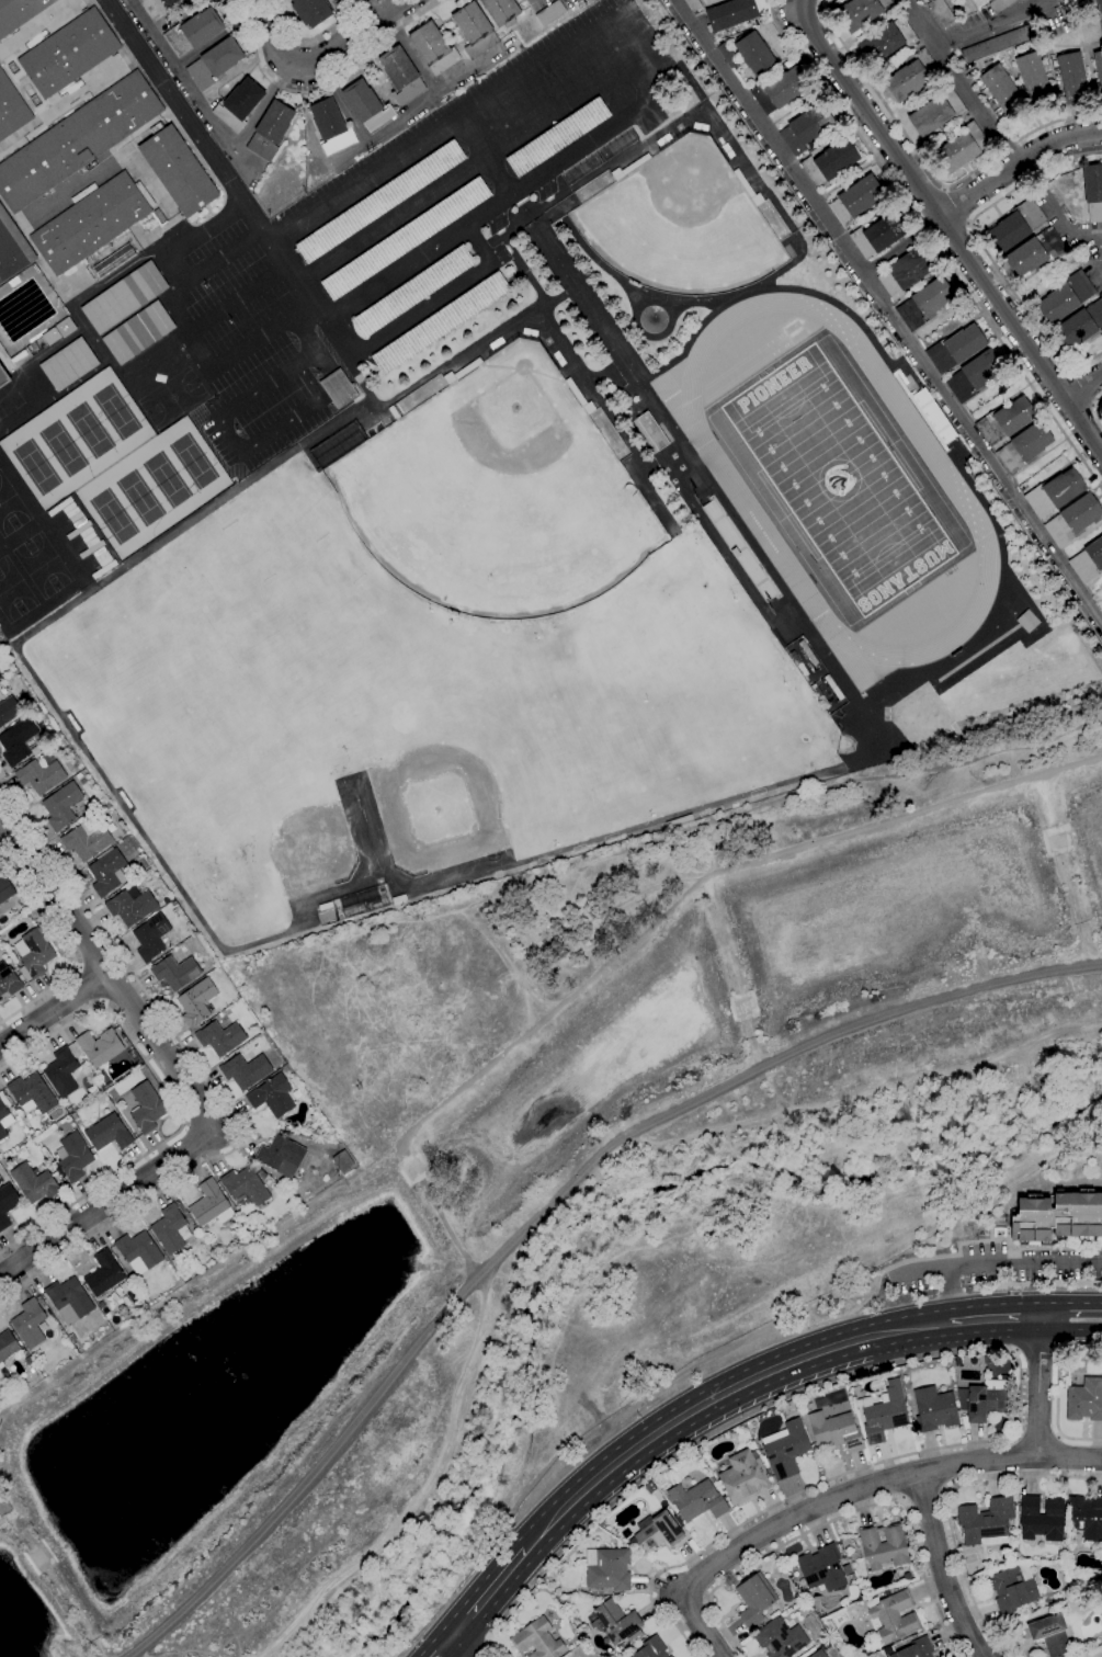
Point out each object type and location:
building: (692, 4)
building: (999, 4)
building: (157, 7)
road: (366, 10)
building: (311, 11)
building: (501, 11)
building: (1099, 11)
building: (19, 12)
building: (863, 12)
building: (941, 12)
building: (549, 13)
building: (730, 14)
road: (989, 26)
road: (638, 29)
building: (474, 30)
building: (193, 32)
road: (315, 38)
building: (887, 41)
building: (998, 43)
building: (433, 48)
building: (68, 53)
building: (754, 54)
building: (727, 55)
road: (317, 58)
building: (214, 63)
building: (1098, 68)
building: (1032, 73)
building: (400, 75)
building: (912, 78)
building: (1071, 79)
road: (959, 82)
road: (637, 83)
road: (320, 87)
building: (780, 90)
building: (1003, 91)
building: (63, 97)
building: (239, 104)
building: (366, 105)
building: (11, 109)
building: (936, 112)
building: (330, 126)
building: (806, 127)
building: (270, 130)
building: (557, 137)
building: (76, 140)
building: (961, 148)
road: (482, 158)
building: (829, 162)
road: (1015, 164)
road: (928, 168)
building: (178, 171)
road: (227, 179)
building: (1093, 192)
building: (855, 200)
building: (380, 201)
road: (488, 209)
building: (158, 215)
building: (91, 223)
park: (680, 223)
building: (1016, 225)
road: (204, 229)
road: (946, 229)
road: (1070, 229)
parking lot: (400, 230)
building: (878, 235)
building: (406, 238)
road: (933, 243)
road: (477, 245)
road: (900, 248)
building: (12, 249)
road: (985, 250)
road: (1094, 250)
building: (1035, 252)
building: (114, 260)
road: (213, 261)
road: (173, 269)
building: (905, 272)
building: (412, 292)
road: (238, 296)
building: (124, 297)
building: (1066, 297)
building: (924, 303)
road: (422, 310)
road: (887, 313)
building: (440, 324)
building: (1080, 325)
building: (65, 327)
road: (190, 331)
building: (138, 332)
road: (305, 332)
road: (263, 333)
building: (50, 337)
building: (34, 345)
building: (955, 349)
road: (307, 356)
building: (68, 364)
building: (974, 375)
building: (3, 377)
road: (310, 379)
road: (1081, 387)
building: (338, 388)
road: (257, 389)
park: (172, 397)
road: (1097, 409)
park: (115, 410)
building: (1004, 421)
road: (282, 424)
park: (90, 430)
building: (651, 430)
road: (229, 435)
building: (1023, 447)
park: (63, 449)
park: (193, 461)
park: (36, 466)
track: (725, 475)
park: (166, 479)
park: (839, 480)
building: (1054, 492)
park: (497, 495)
park: (140, 497)
park: (10, 509)
park: (112, 517)
building: (1072, 520)
building: (735, 553)
building: (1032, 557)
building: (1088, 561)
park: (42, 565)
building: (1101, 589)
park: (14, 591)
building: (804, 647)
building: (794, 658)
building: (810, 658)
building: (802, 670)
building: (0, 677)
building: (832, 686)
building: (819, 695)
building: (9, 711)
building: (57, 733)
building: (18, 741)
building: (41, 774)
park: (448, 779)
building: (82, 782)
building: (105, 805)
building: (61, 806)
park: (261, 821)
building: (110, 827)
building: (87, 839)
building: (107, 872)
building: (5, 888)
building: (166, 900)
building: (362, 901)
building: (130, 906)
building: (0, 908)
road: (650, 923)
building: (150, 937)
road: (68, 950)
building: (33, 954)
road: (77, 967)
road: (107, 972)
building: (174, 972)
building: (8, 980)
road: (91, 984)
road: (101, 1002)
building: (196, 1002)
road: (54, 1009)
building: (219, 1037)
building: (100, 1047)
building: (245, 1070)
building: (64, 1071)
road: (204, 1079)
building: (31, 1094)
building: (272, 1096)
building: (10, 1102)
building: (3, 1105)
road: (175, 1105)
building: (146, 1108)
building: (70, 1109)
building: (73, 1116)
road: (185, 1123)
road: (201, 1126)
building: (2, 1132)
building: (107, 1133)
building: (281, 1156)
building: (72, 1157)
building: (342, 1161)
building: (34, 1183)
building: (245, 1189)
road: (107, 1202)
building: (7, 1204)
building: (209, 1204)
road: (546, 1207)
building: (1058, 1216)
building: (170, 1229)
building: (138, 1252)
building: (175, 1263)
road: (995, 1263)
road: (916, 1268)
building: (105, 1276)
building: (68, 1301)
road: (1068, 1304)
building: (100, 1305)
road: (979, 1321)
building: (29, 1324)
road: (1068, 1331)
building: (71, 1338)
building: (7, 1349)
road: (980, 1350)
road: (1038, 1352)
building: (27, 1360)
building: (989, 1360)
building: (957, 1361)
road: (1037, 1387)
road: (1057, 1393)
building: (982, 1399)
building: (1084, 1400)
road: (702, 1406)
building: (934, 1409)
building: (883, 1412)
building: (834, 1430)
road: (1016, 1435)
road: (1057, 1435)
road: (1037, 1437)
building: (784, 1449)
building: (722, 1468)
building: (743, 1477)
building: (649, 1487)
road: (839, 1497)
building: (696, 1500)
road: (945, 1507)
road: (842, 1517)
building: (1084, 1517)
building: (1041, 1518)
building: (986, 1522)
building: (657, 1532)
building: (853, 1542)
building: (624, 1545)
building: (883, 1547)
building: (1006, 1550)
building: (607, 1568)
building: (821, 1568)
road: (945, 1568)
building: (970, 1568)
building: (850, 1578)
building: (1012, 1588)
building: (889, 1591)
building: (591, 1593)
road: (491, 1597)
building: (598, 1598)
building: (754, 1599)
building: (545, 1610)
building: (893, 1616)
building: (614, 1622)
building: (1050, 1635)
building: (634, 1637)
building: (780, 1638)
building: (537, 1641)
road: (447, 1647)
road: (464, 1647)
building: (651, 1648)
building: (889, 1649)
building: (914, 1649)
road: (481, 1650)
building: (818, 1654)
park: (1093, 1654)
building: (669, 1656)

